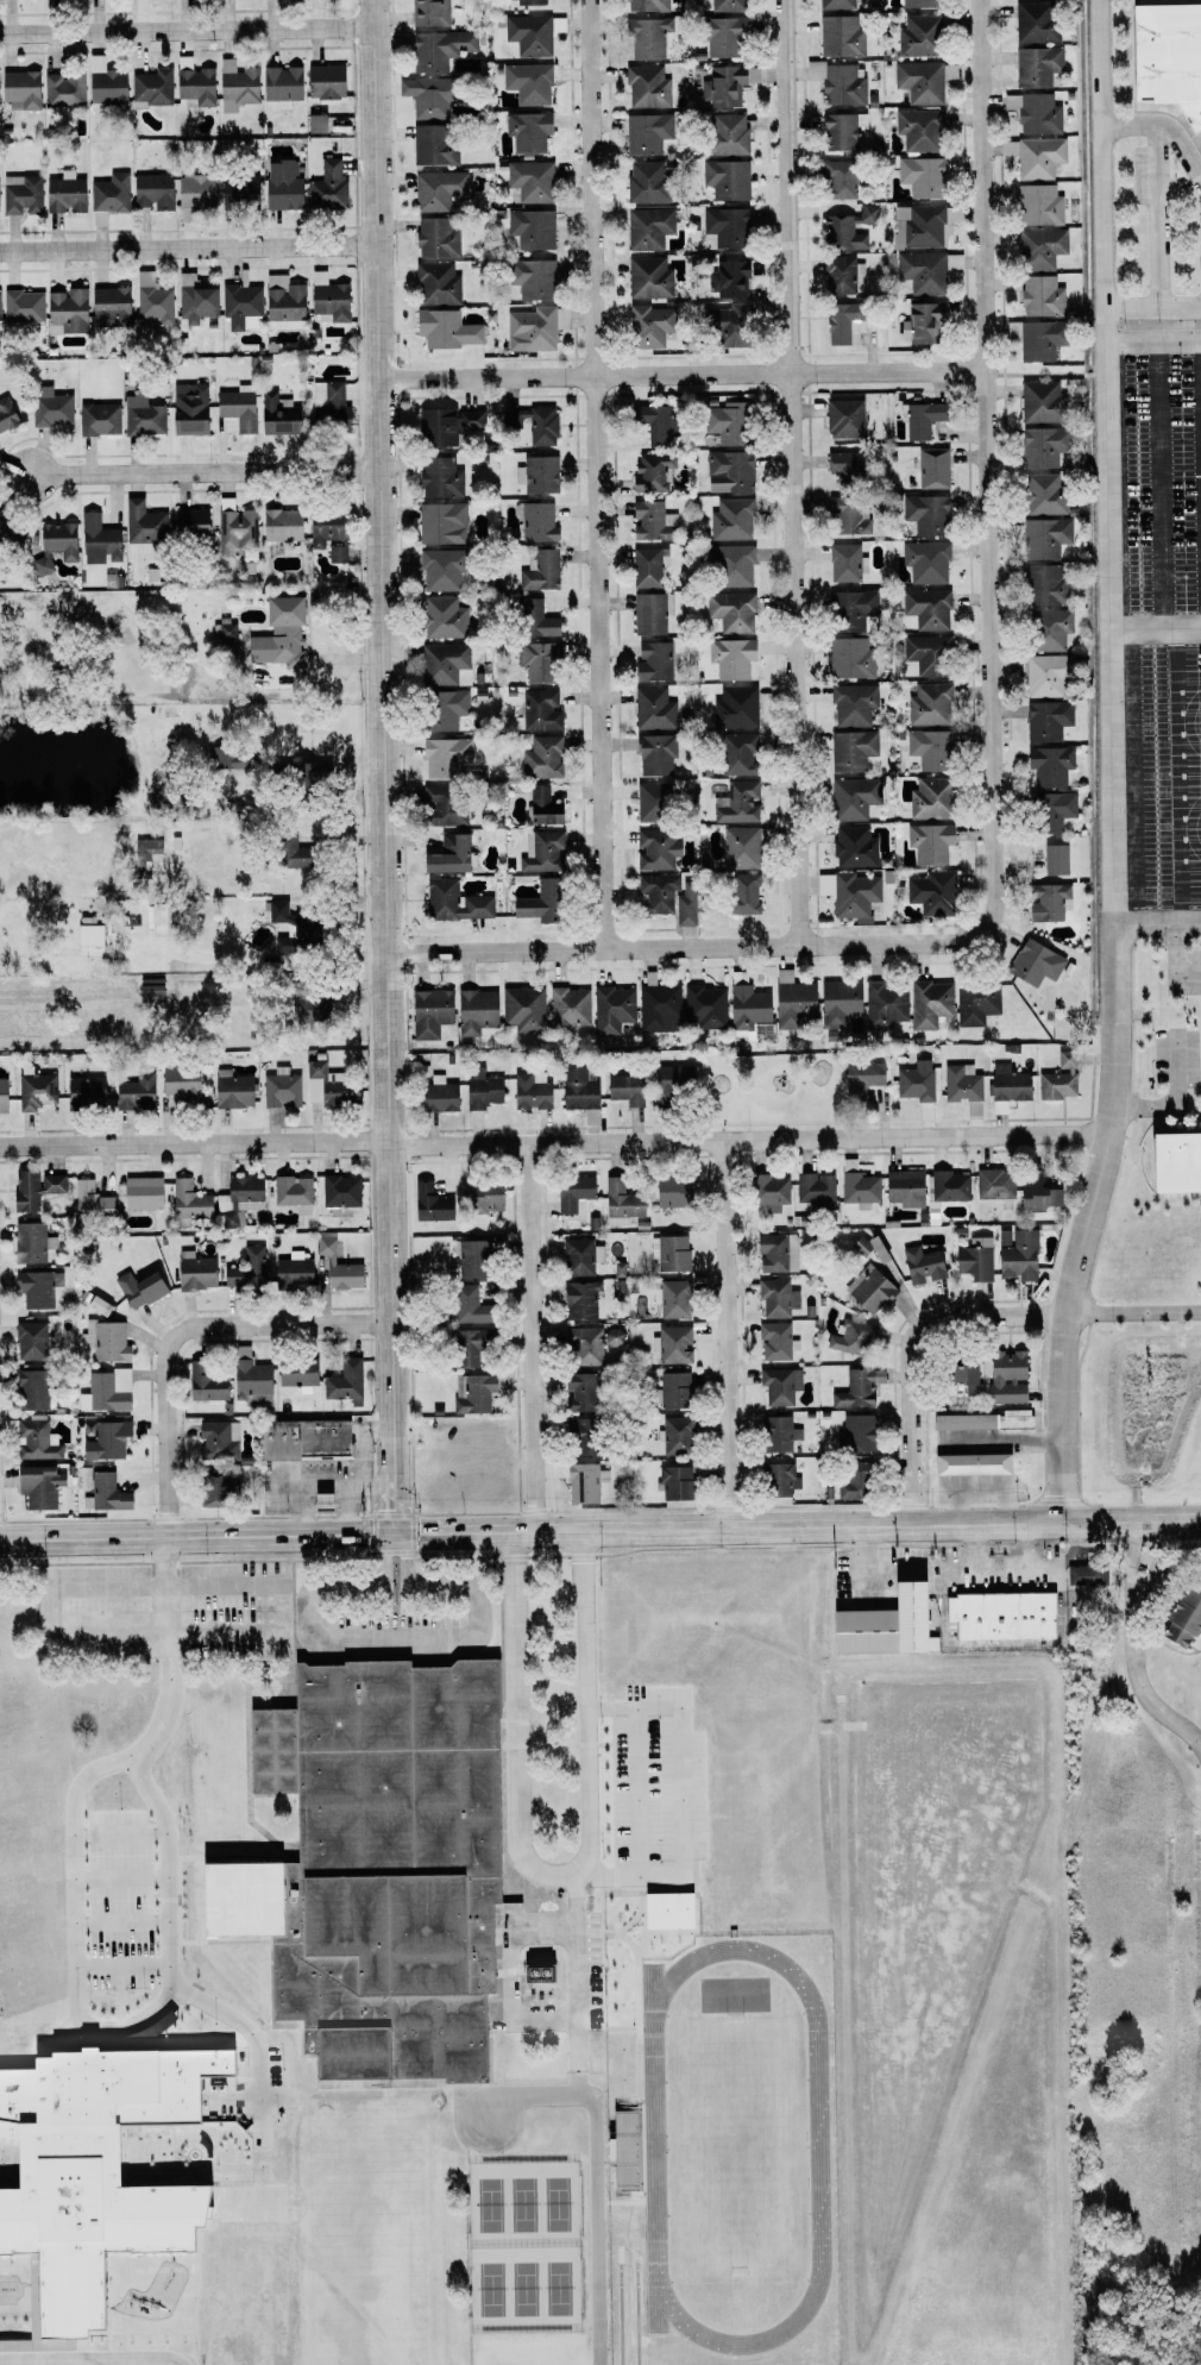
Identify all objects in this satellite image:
building: (313, 1)
building: (527, 1)
building: (917, 2)
building: (644, 4)
building: (836, 4)
building: (725, 5)
building: (428, 12)
building: (1035, 21)
road: (187, 32)
building: (528, 33)
building: (719, 33)
building: (841, 34)
building: (918, 34)
building: (644, 37)
building: (438, 48)
building: (1169, 54)
building: (1036, 64)
building: (948, 71)
building: (323, 81)
building: (919, 81)
building: (527, 82)
building: (836, 82)
building: (725, 83)
building: (103, 84)
building: (235, 84)
building: (281, 84)
building: (151, 87)
building: (195, 87)
building: (647, 87)
building: (19, 89)
building: (62, 89)
building: (425, 95)
building: (1033, 112)
building: (314, 123)
road: (1162, 125)
building: (841, 130)
building: (918, 130)
building: (527, 131)
building: (644, 133)
building: (727, 134)
building: (430, 145)
building: (1038, 157)
building: (920, 175)
building: (725, 178)
building: (529, 180)
building: (837, 180)
building: (646, 181)
building: (279, 184)
building: (327, 187)
building: (435, 189)
building: (150, 190)
building: (193, 190)
building: (237, 190)
building: (20, 193)
building: (107, 193)
building: (62, 194)
building: (1035, 203)
road: (1157, 217)
building: (918, 225)
building: (725, 226)
building: (647, 227)
building: (532, 228)
building: (847, 228)
building: (1039, 247)
road: (187, 251)
building: (922, 271)
building: (841, 274)
building: (530, 277)
building: (648, 277)
building: (727, 278)
building: (435, 283)
building: (1039, 295)
building: (151, 300)
building: (193, 300)
building: (327, 300)
building: (281, 301)
building: (23, 305)
building: (108, 306)
building: (239, 306)
road: (1152, 308)
building: (65, 310)
building: (917, 321)
building: (842, 324)
building: (722, 325)
building: (646, 326)
building: (444, 328)
building: (530, 328)
building: (1035, 338)
road: (1153, 341)
road: (1046, 372)
road: (681, 378)
building: (327, 406)
building: (187, 407)
building: (50, 408)
building: (234, 408)
building: (6, 414)
building: (275, 414)
building: (140, 415)
building: (98, 418)
building: (843, 418)
building: (920, 419)
building: (653, 421)
building: (722, 421)
building: (532, 424)
building: (445, 425)
building: (1042, 445)
building: (841, 465)
road: (986, 465)
building: (931, 468)
building: (728, 471)
road: (200, 472)
building: (652, 472)
road: (791, 472)
building: (536, 473)
road: (596, 473)
building: (441, 477)
road: (1161, 485)
building: (1042, 493)
building: (925, 513)
building: (841, 514)
building: (731, 519)
building: (652, 520)
building: (536, 521)
building: (442, 522)
building: (189, 525)
building: (279, 525)
building: (234, 529)
building: (10, 534)
building: (325, 534)
building: (1043, 537)
building: (96, 540)
building: (52, 545)
building: (925, 560)
building: (842, 562)
building: (731, 564)
building: (647, 566)
building: (440, 569)
building: (540, 570)
building: (1043, 585)
building: (926, 608)
building: (850, 609)
building: (730, 611)
building: (649, 613)
building: (442, 616)
building: (533, 619)
building: (281, 628)
building: (1046, 628)
road: (1156, 629)
building: (222, 631)
building: (926, 653)
building: (730, 657)
building: (850, 657)
building: (537, 661)
building: (652, 661)
building: (445, 664)
building: (1045, 673)
building: (851, 703)
building: (929, 703)
building: (650, 707)
building: (735, 707)
building: (444, 709)
building: (539, 709)
building: (1045, 720)
building: (928, 748)
building: (850, 749)
building: (736, 753)
building: (654, 754)
building: (446, 758)
building: (541, 758)
road: (1112, 763)
building: (1048, 765)
road: (382, 766)
road: (1178, 776)
building: (851, 797)
building: (925, 798)
building: (650, 801)
building: (736, 802)
building: (440, 807)
building: (540, 807)
building: (1050, 810)
building: (928, 842)
building: (851, 846)
building: (738, 847)
building: (655, 848)
building: (288, 849)
building: (540, 851)
building: (144, 854)
building: (444, 857)
building: (1054, 859)
building: (656, 891)
building: (930, 892)
building: (684, 896)
building: (853, 896)
building: (452, 901)
building: (1046, 901)
building: (537, 902)
building: (275, 910)
building: (156, 917)
road: (1157, 922)
building: (88, 934)
road: (686, 946)
road: (249, 958)
road: (1176, 958)
building: (1033, 962)
building: (147, 990)
building: (975, 1000)
building: (793, 1002)
building: (837, 1003)
building: (884, 1003)
building: (929, 1003)
building: (703, 1005)
building: (567, 1006)
building: (746, 1006)
building: (522, 1008)
building: (658, 1008)
building: (611, 1009)
building: (473, 1011)
building: (427, 1012)
building: (861, 1077)
building: (1058, 1077)
building: (671, 1079)
building: (177, 1083)
building: (914, 1083)
building: (326, 1085)
building: (962, 1085)
building: (577, 1086)
building: (1006, 1086)
building: (281, 1087)
building: (623, 1087)
building: (529, 1089)
building: (34, 1090)
building: (82, 1090)
building: (231, 1090)
building: (133, 1091)
building: (480, 1091)
building: (1, 1093)
building: (436, 1093)
road: (1178, 1102)
building: (589, 1115)
road: (553, 1149)
building: (1177, 1162)
building: (993, 1182)
building: (948, 1184)
building: (32, 1186)
building: (904, 1186)
building: (859, 1187)
building: (768, 1190)
building: (139, 1191)
building: (339, 1191)
building: (669, 1191)
building: (815, 1191)
building: (1035, 1191)
building: (291, 1192)
building: (572, 1193)
building: (88, 1196)
building: (482, 1197)
building: (187, 1199)
building: (237, 1199)
building: (618, 1199)
building: (428, 1202)
building: (27, 1241)
building: (669, 1250)
building: (776, 1251)
building: (1015, 1253)
building: (579, 1255)
building: (470, 1256)
building: (974, 1257)
building: (920, 1263)
building: (337, 1266)
building: (244, 1267)
building: (193, 1269)
building: (291, 1269)
building: (36, 1286)
building: (138, 1287)
building: (868, 1288)
building: (671, 1297)
building: (775, 1297)
building: (578, 1299)
building: (463, 1303)
road: (1132, 1312)
road: (181, 1331)
building: (849, 1335)
road: (723, 1336)
building: (774, 1338)
building: (29, 1340)
building: (105, 1340)
road: (530, 1341)
building: (589, 1342)
building: (672, 1343)
building: (463, 1347)
road: (911, 1349)
building: (294, 1370)
building: (247, 1373)
building: (960, 1373)
building: (1004, 1376)
building: (342, 1380)
building: (202, 1381)
building: (778, 1384)
building: (856, 1386)
building: (30, 1388)
building: (105, 1389)
building: (671, 1389)
building: (576, 1391)
building: (471, 1392)
building: (981, 1419)
building: (856, 1431)
building: (776, 1432)
building: (579, 1435)
building: (675, 1435)
building: (101, 1438)
building: (301, 1438)
building: (34, 1439)
building: (215, 1439)
road: (364, 1445)
building: (969, 1462)
building: (776, 1478)
building: (583, 1481)
building: (673, 1481)
building: (851, 1482)
road: (321, 1483)
building: (212, 1487)
building: (103, 1492)
road: (342, 1508)
road: (835, 1525)
road: (429, 1532)
traffic signals: (392, 1533)
road: (195, 1535)
road: (859, 1556)
road: (999, 1562)
building: (1084, 1574)
building: (999, 1614)
building: (1181, 1616)
building: (881, 1624)
road: (136, 1636)
road: (398, 1637)
road: (1134, 1645)
building: (10, 1690)
road: (593, 1710)
building: (18, 1777)
road: (679, 1795)
road: (1194, 1812)
road: (528, 1828)
building: (372, 1872)
building: (664, 1909)
building: (1, 1936)
road: (518, 1963)
building: (534, 1972)
road: (73, 1983)
road: (241, 2026)
road: (559, 2100)
road: (459, 2118)
building: (622, 2147)
building: (90, 2178)
road: (598, 2232)

